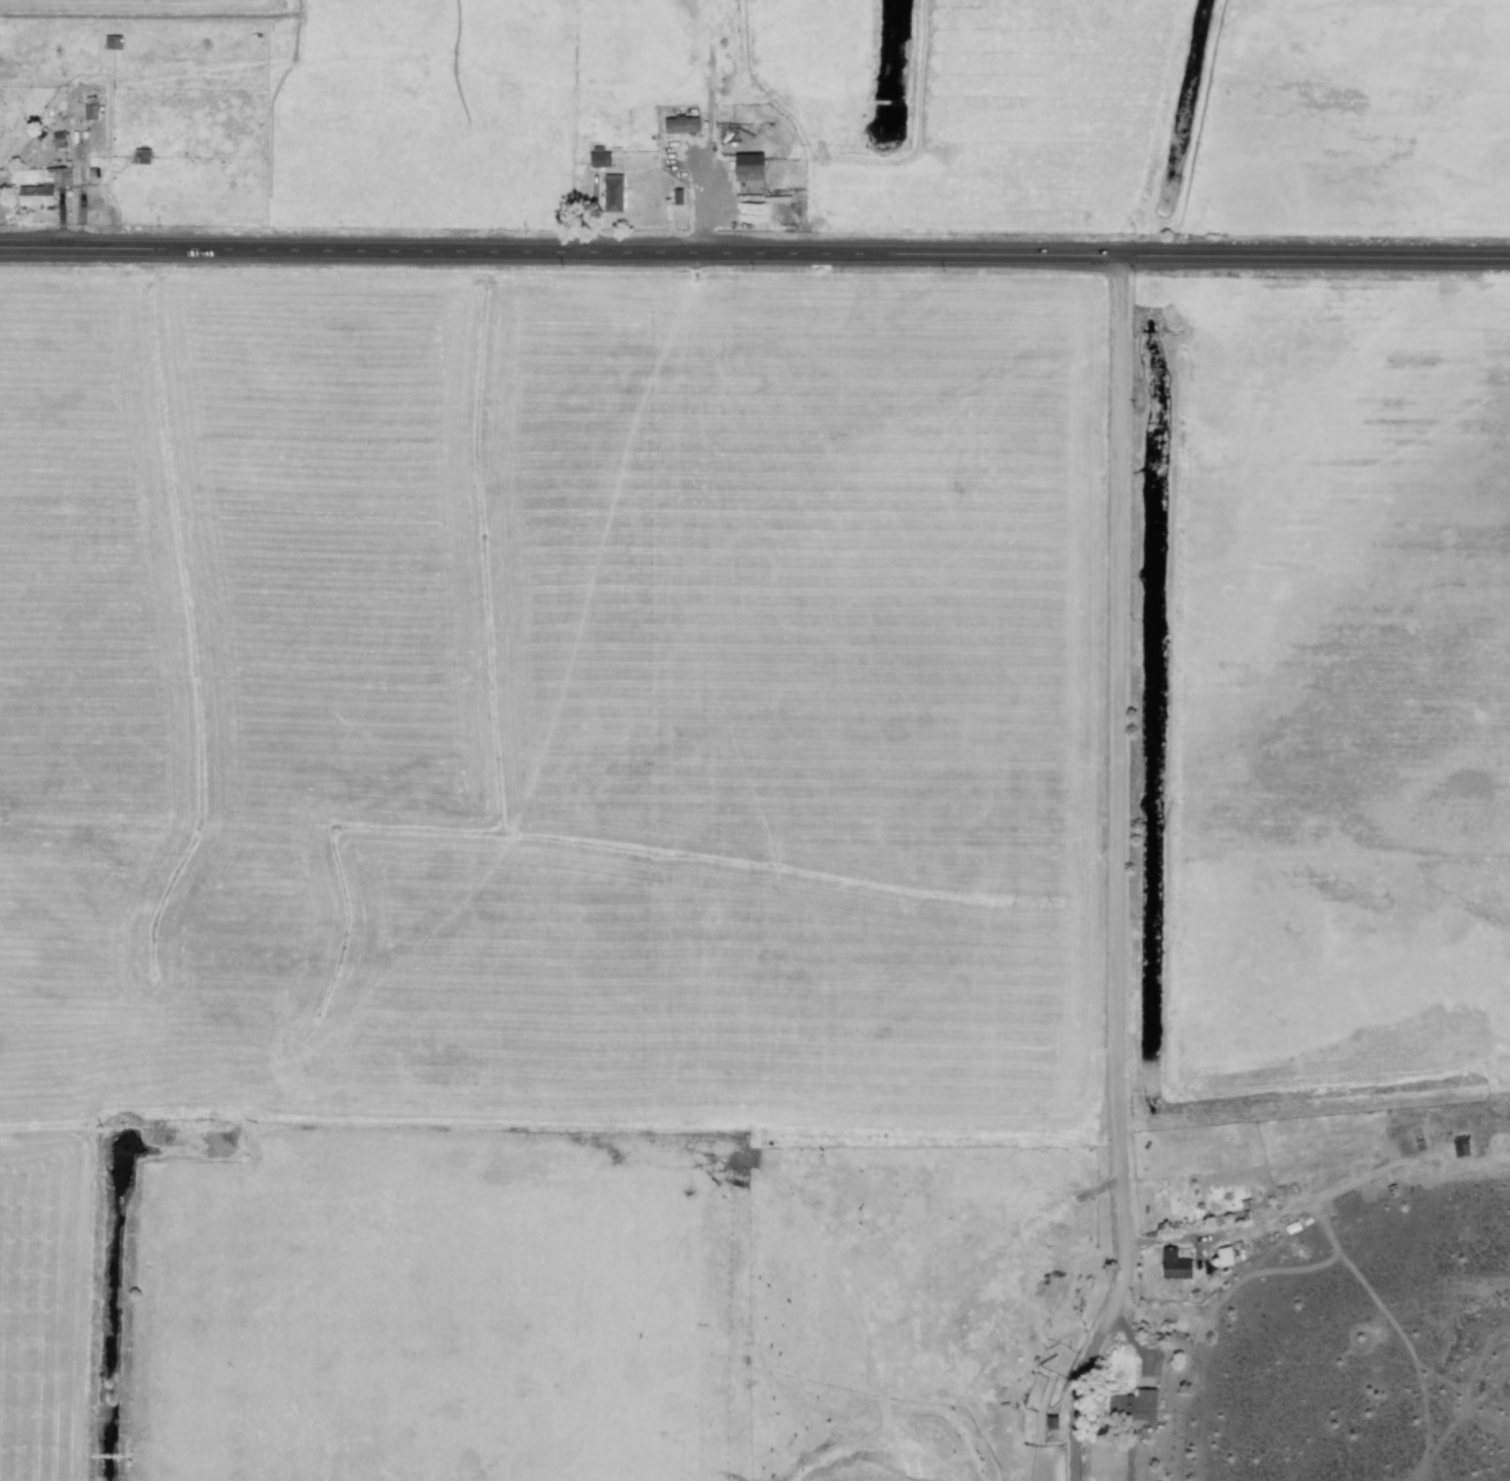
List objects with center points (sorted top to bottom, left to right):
wastewater plant: (886, 57)
wastewater plant: (1173, 89)
building: (87, 108)
building: (678, 125)
building: (596, 157)
building: (745, 173)
building: (42, 188)
building: (611, 193)
building: (671, 205)
road: (64, 247)
road: (819, 251)
wastewater plant: (1140, 694)
road: (1116, 871)
wastewater plant: (195, 1113)
building: (1223, 1256)
building: (1172, 1265)
wastewater plant: (106, 1293)
building: (1130, 1406)

